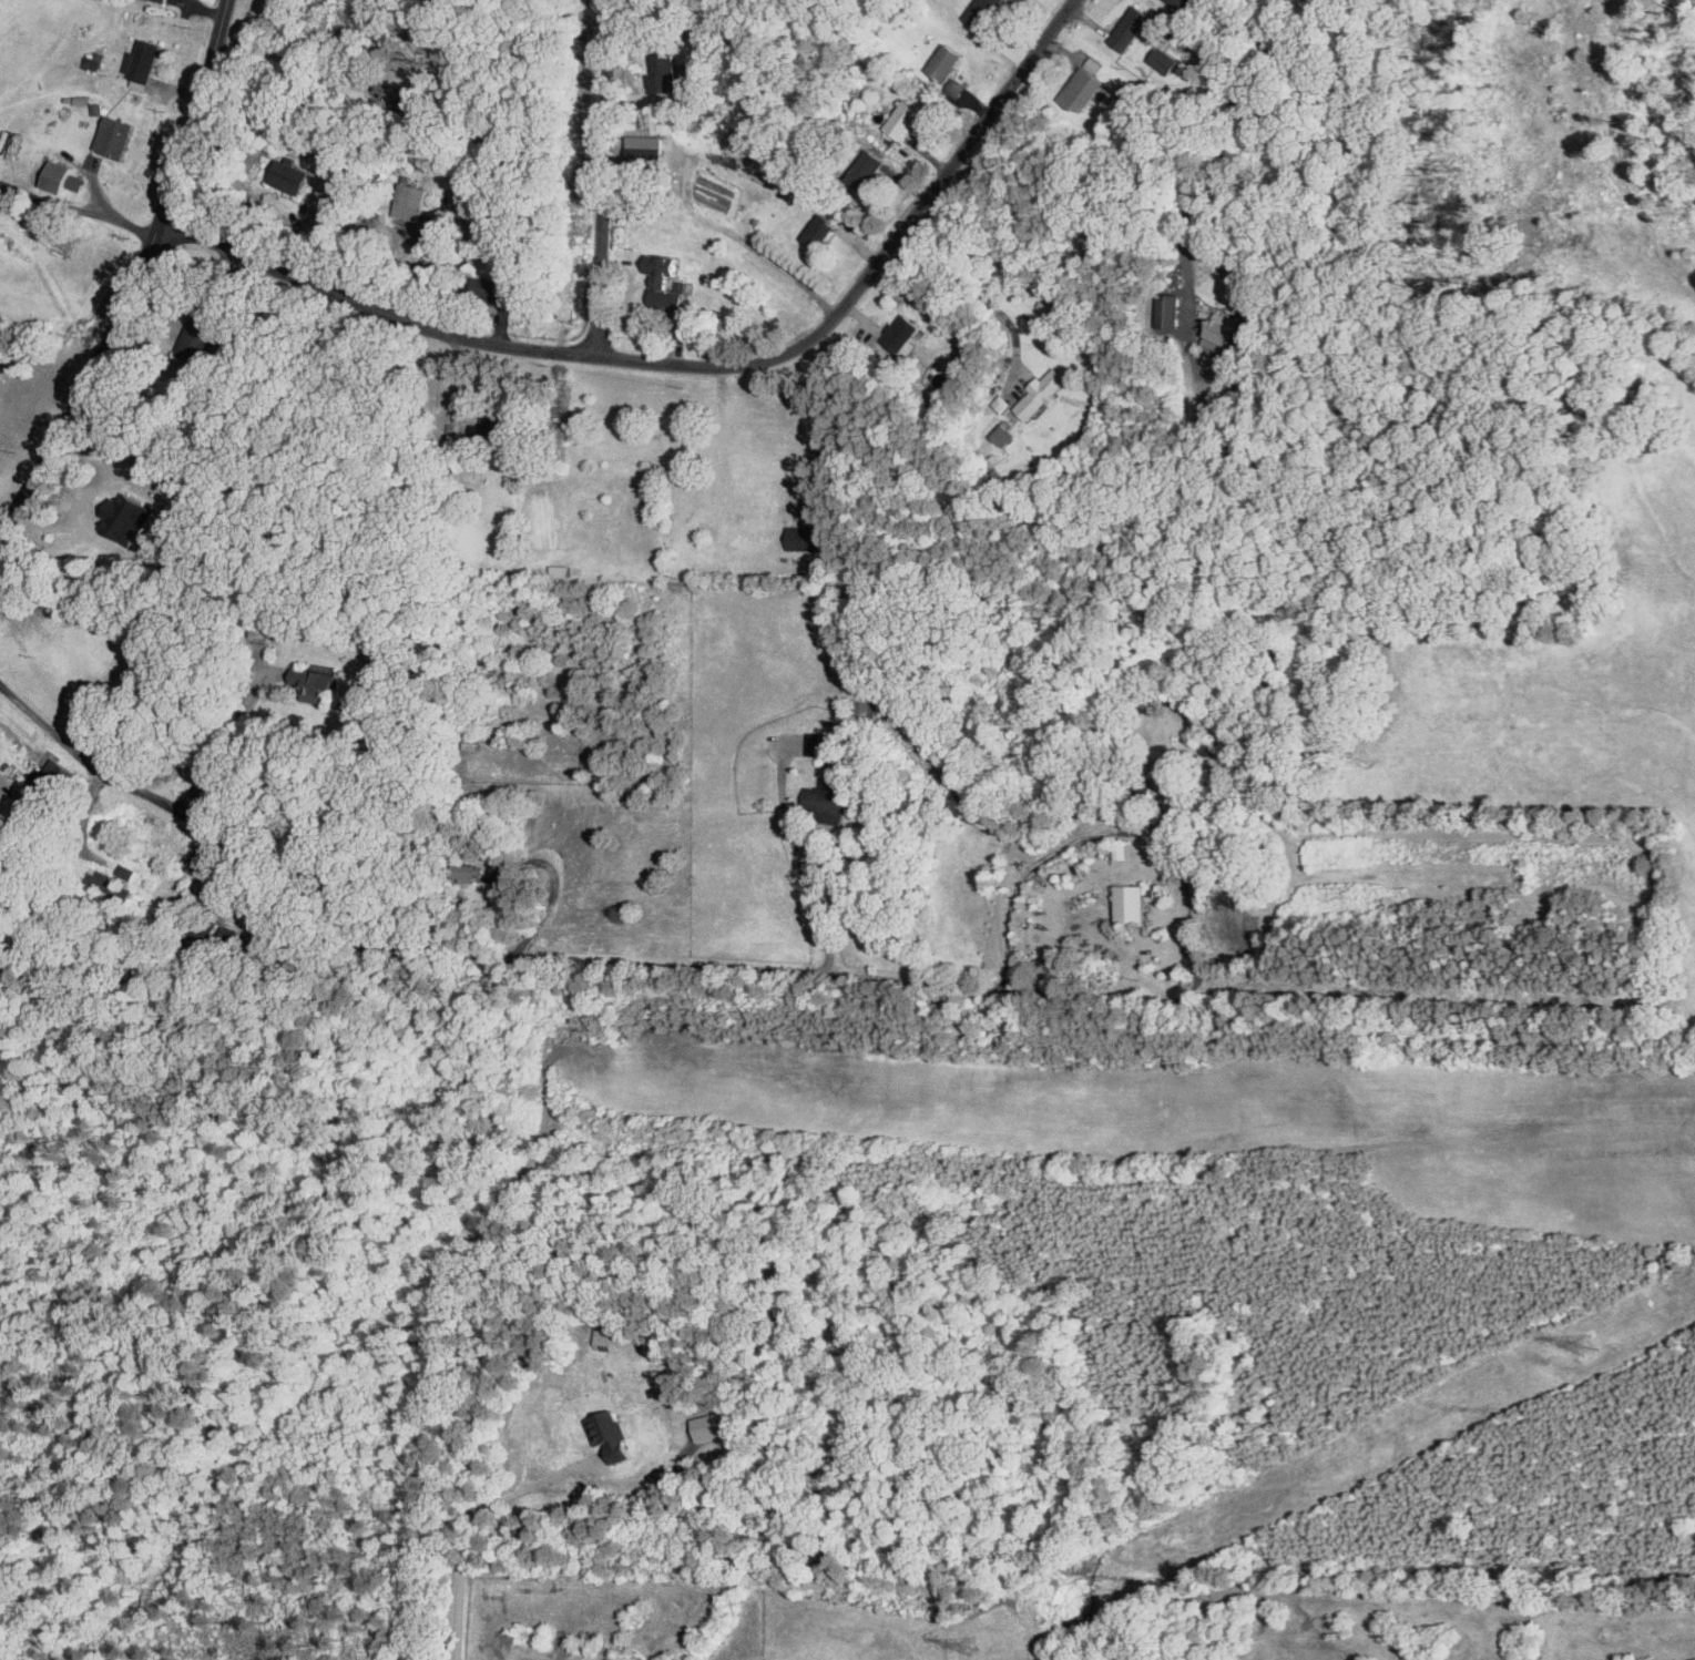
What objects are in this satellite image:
building: (164, 0)
building: (1183, 3)
building: (983, 11)
building: (1131, 26)
road: (290, 58)
building: (92, 59)
building: (142, 59)
building: (1164, 59)
building: (943, 61)
building: (660, 78)
building: (1082, 89)
building: (902, 119)
building: (114, 134)
road: (1219, 159)
building: (867, 170)
building: (289, 174)
building: (58, 175)
road: (602, 177)
building: (76, 181)
building: (331, 189)
building: (412, 200)
road: (76, 208)
road: (693, 210)
building: (821, 230)
road: (136, 276)
building: (665, 282)
building: (497, 288)
building: (1166, 305)
building: (1219, 330)
building: (901, 332)
road: (690, 369)
building: (1041, 393)
building: (1001, 403)
building: (1003, 432)
building: (127, 517)
building: (805, 537)
building: (316, 684)
building: (813, 743)
road: (223, 750)
building: (828, 798)
road: (799, 862)
building: (468, 869)
building: (1132, 904)
building: (1238, 927)
road: (607, 966)
airport runway: (1134, 1083)
building: (603, 1338)
power tower: (1579, 1346)
building: (612, 1435)
road: (458, 1549)
power tower: (964, 1642)

